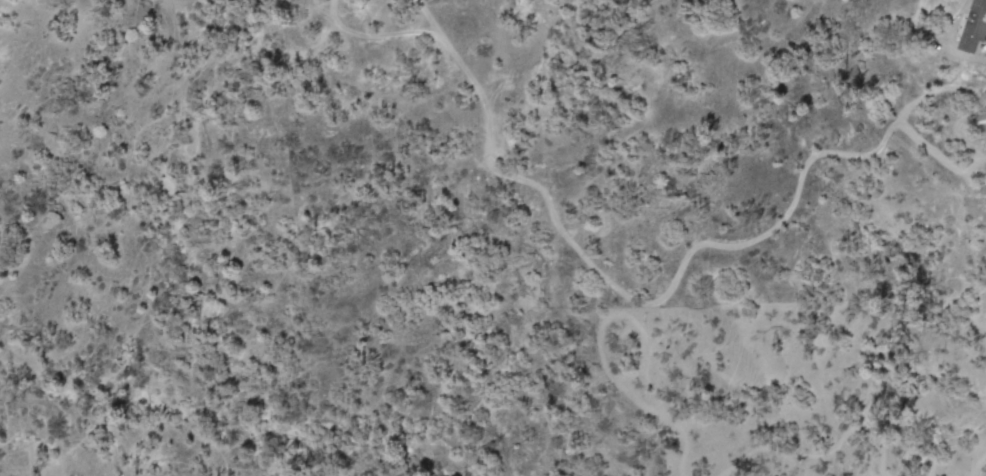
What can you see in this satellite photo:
building: (976, 28)
building: (983, 122)

